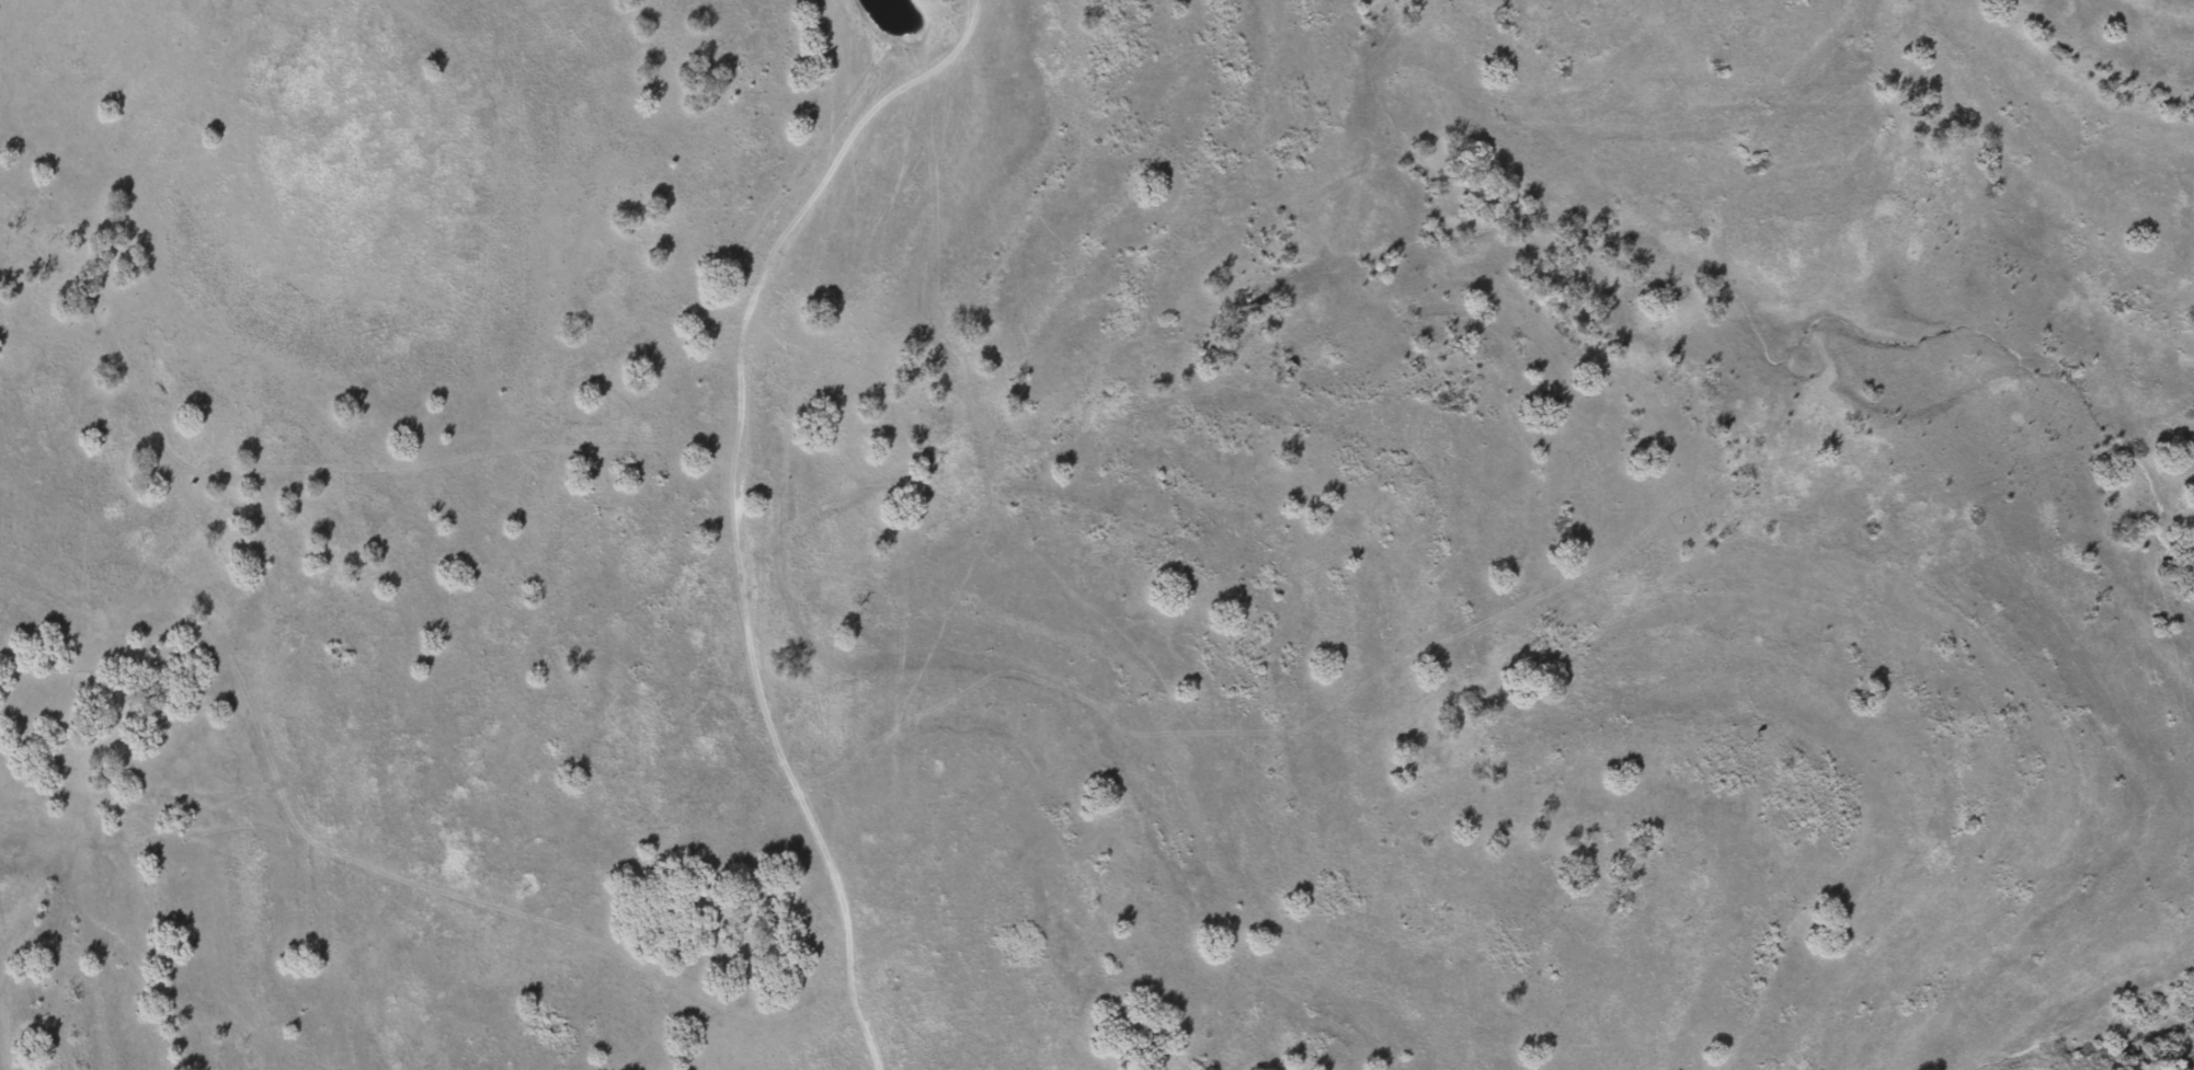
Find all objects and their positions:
road: (11, 842)

